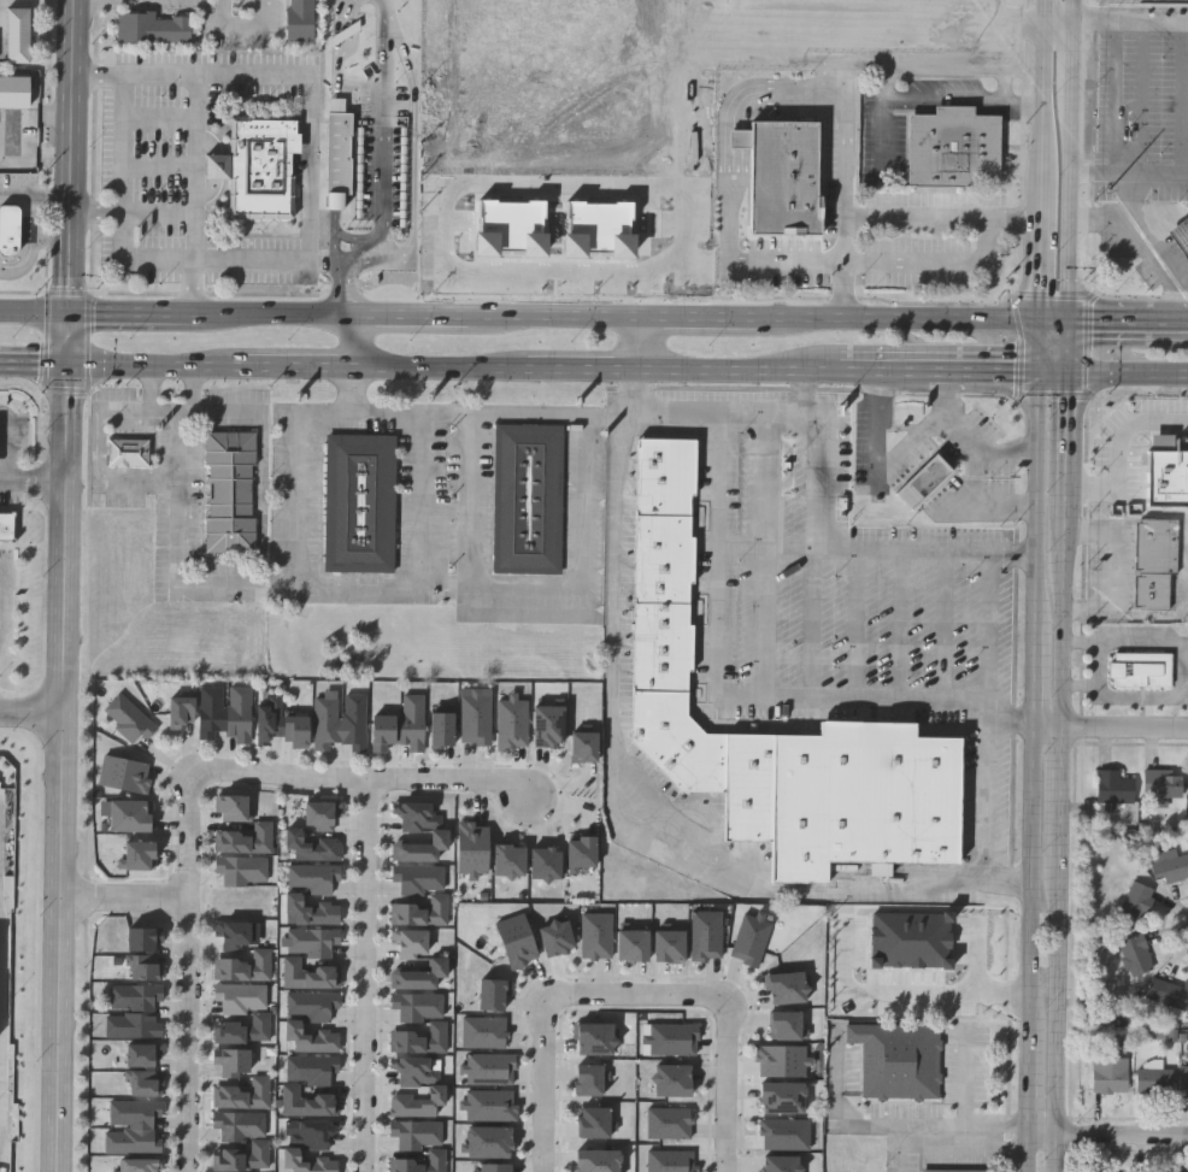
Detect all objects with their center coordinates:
road: (54, 1)
road: (1048, 8)
road: (1076, 8)
road: (1061, 18)
building: (299, 19)
road: (1148, 22)
road: (1013, 25)
building: (152, 26)
road: (242, 28)
building: (17, 34)
road: (343, 41)
road: (1075, 51)
road: (851, 59)
road: (766, 61)
parking lot: (241, 75)
road: (99, 77)
road: (1000, 77)
road: (218, 78)
building: (576, 81)
road: (777, 93)
road: (966, 99)
road: (1184, 99)
road: (887, 107)
building: (12, 113)
road: (29, 114)
road: (1046, 116)
road: (161, 118)
road: (684, 136)
road: (737, 137)
road: (206, 146)
building: (954, 147)
road: (339, 151)
road: (414, 151)
road: (490, 158)
road: (36, 159)
building: (340, 159)
building: (258, 166)
road: (160, 167)
road: (216, 169)
road: (311, 171)
road: (1092, 173)
road: (1110, 173)
building: (782, 175)
road: (1159, 175)
parking lot: (146, 178)
road: (73, 183)
road: (208, 194)
road: (198, 196)
power tower: (1112, 201)
road: (1072, 202)
road: (736, 205)
road: (381, 210)
road: (889, 210)
road: (98, 216)
road: (160, 217)
road: (1101, 222)
road: (660, 229)
building: (10, 234)
road: (351, 235)
building: (1181, 235)
building: (569, 246)
road: (125, 258)
parking lot: (249, 258)
road: (936, 258)
road: (749, 263)
road: (1043, 267)
road: (572, 272)
road: (1183, 276)
road: (655, 293)
road: (35, 314)
traffic signals: (70, 314)
road: (133, 314)
road: (618, 317)
traffic signals: (1042, 320)
road: (1055, 320)
traffic signals: (1069, 322)
road: (1128, 322)
road: (653, 342)
road: (355, 344)
road: (1042, 344)
road: (1068, 346)
road: (34, 367)
traffic signals: (69, 367)
road: (454, 369)
road: (886, 369)
road: (986, 370)
traffic signals: (1043, 370)
road: (1055, 370)
traffic signals: (1068, 371)
road: (1128, 371)
road: (360, 390)
road: (194, 391)
parking lot: (240, 397)
road: (146, 413)
road: (229, 414)
road: (469, 414)
road: (730, 418)
road: (18, 424)
parking lot: (986, 425)
road: (905, 429)
road: (929, 431)
road: (877, 434)
road: (959, 441)
parking lot: (863, 443)
building: (130, 453)
road: (1122, 453)
parking lot: (949, 454)
road: (983, 455)
road: (1064, 459)
parking lot: (912, 466)
road: (34, 470)
building: (1168, 471)
road: (108, 478)
building: (925, 481)
parking lot: (1000, 481)
building: (231, 491)
parking lot: (445, 491)
parking lot: (195, 496)
parking lot: (942, 496)
road: (1041, 496)
road: (469, 497)
parking lot: (484, 499)
building: (529, 499)
road: (265, 500)
building: (361, 503)
parking lot: (345, 505)
road: (1006, 510)
parking lot: (599, 518)
building: (7, 525)
road: (178, 541)
parking lot: (163, 549)
road: (881, 552)
road: (769, 558)
road: (816, 559)
building: (1154, 565)
parking lot: (228, 566)
road: (1108, 566)
road: (1061, 581)
road: (584, 583)
parking lot: (836, 585)
road: (359, 595)
parking lot: (531, 602)
road: (11, 606)
road: (512, 616)
building: (669, 620)
road: (859, 625)
road: (900, 626)
road: (946, 626)
road: (992, 631)
road: (716, 669)
road: (1061, 670)
building: (1141, 670)
road: (1039, 675)
road: (969, 701)
road: (33, 711)
building: (181, 712)
building: (224, 712)
building: (477, 715)
building: (128, 718)
building: (340, 720)
building: (513, 723)
road: (1012, 723)
building: (278, 724)
building: (400, 725)
building: (549, 726)
road: (1049, 726)
building: (443, 728)
road: (1125, 728)
building: (586, 747)
road: (65, 770)
building: (125, 775)
road: (366, 779)
building: (749, 787)
building: (1163, 787)
building: (1115, 788)
parking lot: (988, 794)
road: (987, 796)
building: (864, 799)
road: (1061, 801)
building: (1187, 806)
building: (234, 807)
road: (610, 813)
building: (322, 814)
building: (129, 815)
building: (423, 830)
building: (246, 838)
building: (313, 846)
building: (474, 849)
building: (582, 853)
building: (140, 856)
building: (510, 861)
building: (546, 864)
building: (1170, 864)
building: (243, 870)
building: (313, 877)
building: (418, 877)
road: (1033, 883)
road: (128, 899)
building: (1136, 901)
building: (310, 911)
building: (422, 911)
building: (231, 932)
building: (598, 936)
building: (707, 936)
building: (143, 938)
building: (558, 938)
building: (752, 940)
building: (912, 940)
building: (517, 941)
building: (1100, 941)
building: (411, 942)
building: (634, 946)
building: (670, 947)
building: (311, 958)
building: (1136, 958)
building: (145, 967)
building: (243, 967)
road: (193, 972)
building: (420, 974)
road: (367, 976)
building: (789, 988)
road: (910, 991)
building: (494, 995)
road: (637, 996)
building: (1175, 996)
building: (312, 1005)
building: (417, 1006)
building: (135, 1011)
building: (258, 1015)
road: (1058, 1023)
building: (788, 1026)
building: (484, 1032)
building: (310, 1037)
building: (422, 1038)
building: (598, 1040)
building: (672, 1040)
building: (900, 1060)
building: (783, 1061)
building: (233, 1062)
building: (311, 1067)
building: (142, 1068)
building: (490, 1070)
building: (1108, 1077)
building: (593, 1080)
building: (674, 1080)
building: (1183, 1080)
road: (543, 1083)
building: (1154, 1083)
road: (728, 1085)
building: (416, 1086)
road: (1031, 1086)
road: (966, 1088)
building: (245, 1094)
building: (784, 1097)
building: (308, 1101)
building: (490, 1106)
building: (598, 1123)
building: (670, 1124)
building: (240, 1125)
building: (134, 1126)
road: (965, 1126)
building: (313, 1133)
building: (787, 1133)
road: (1108, 1135)
building: (490, 1142)
building: (419, 1146)
road: (900, 1149)
road: (1030, 1152)
building: (245, 1156)
building: (307, 1161)
building: (599, 1161)
building: (672, 1161)
building: (781, 1164)
building: (135, 1165)
building: (494, 1167)
building: (955, 1171)

